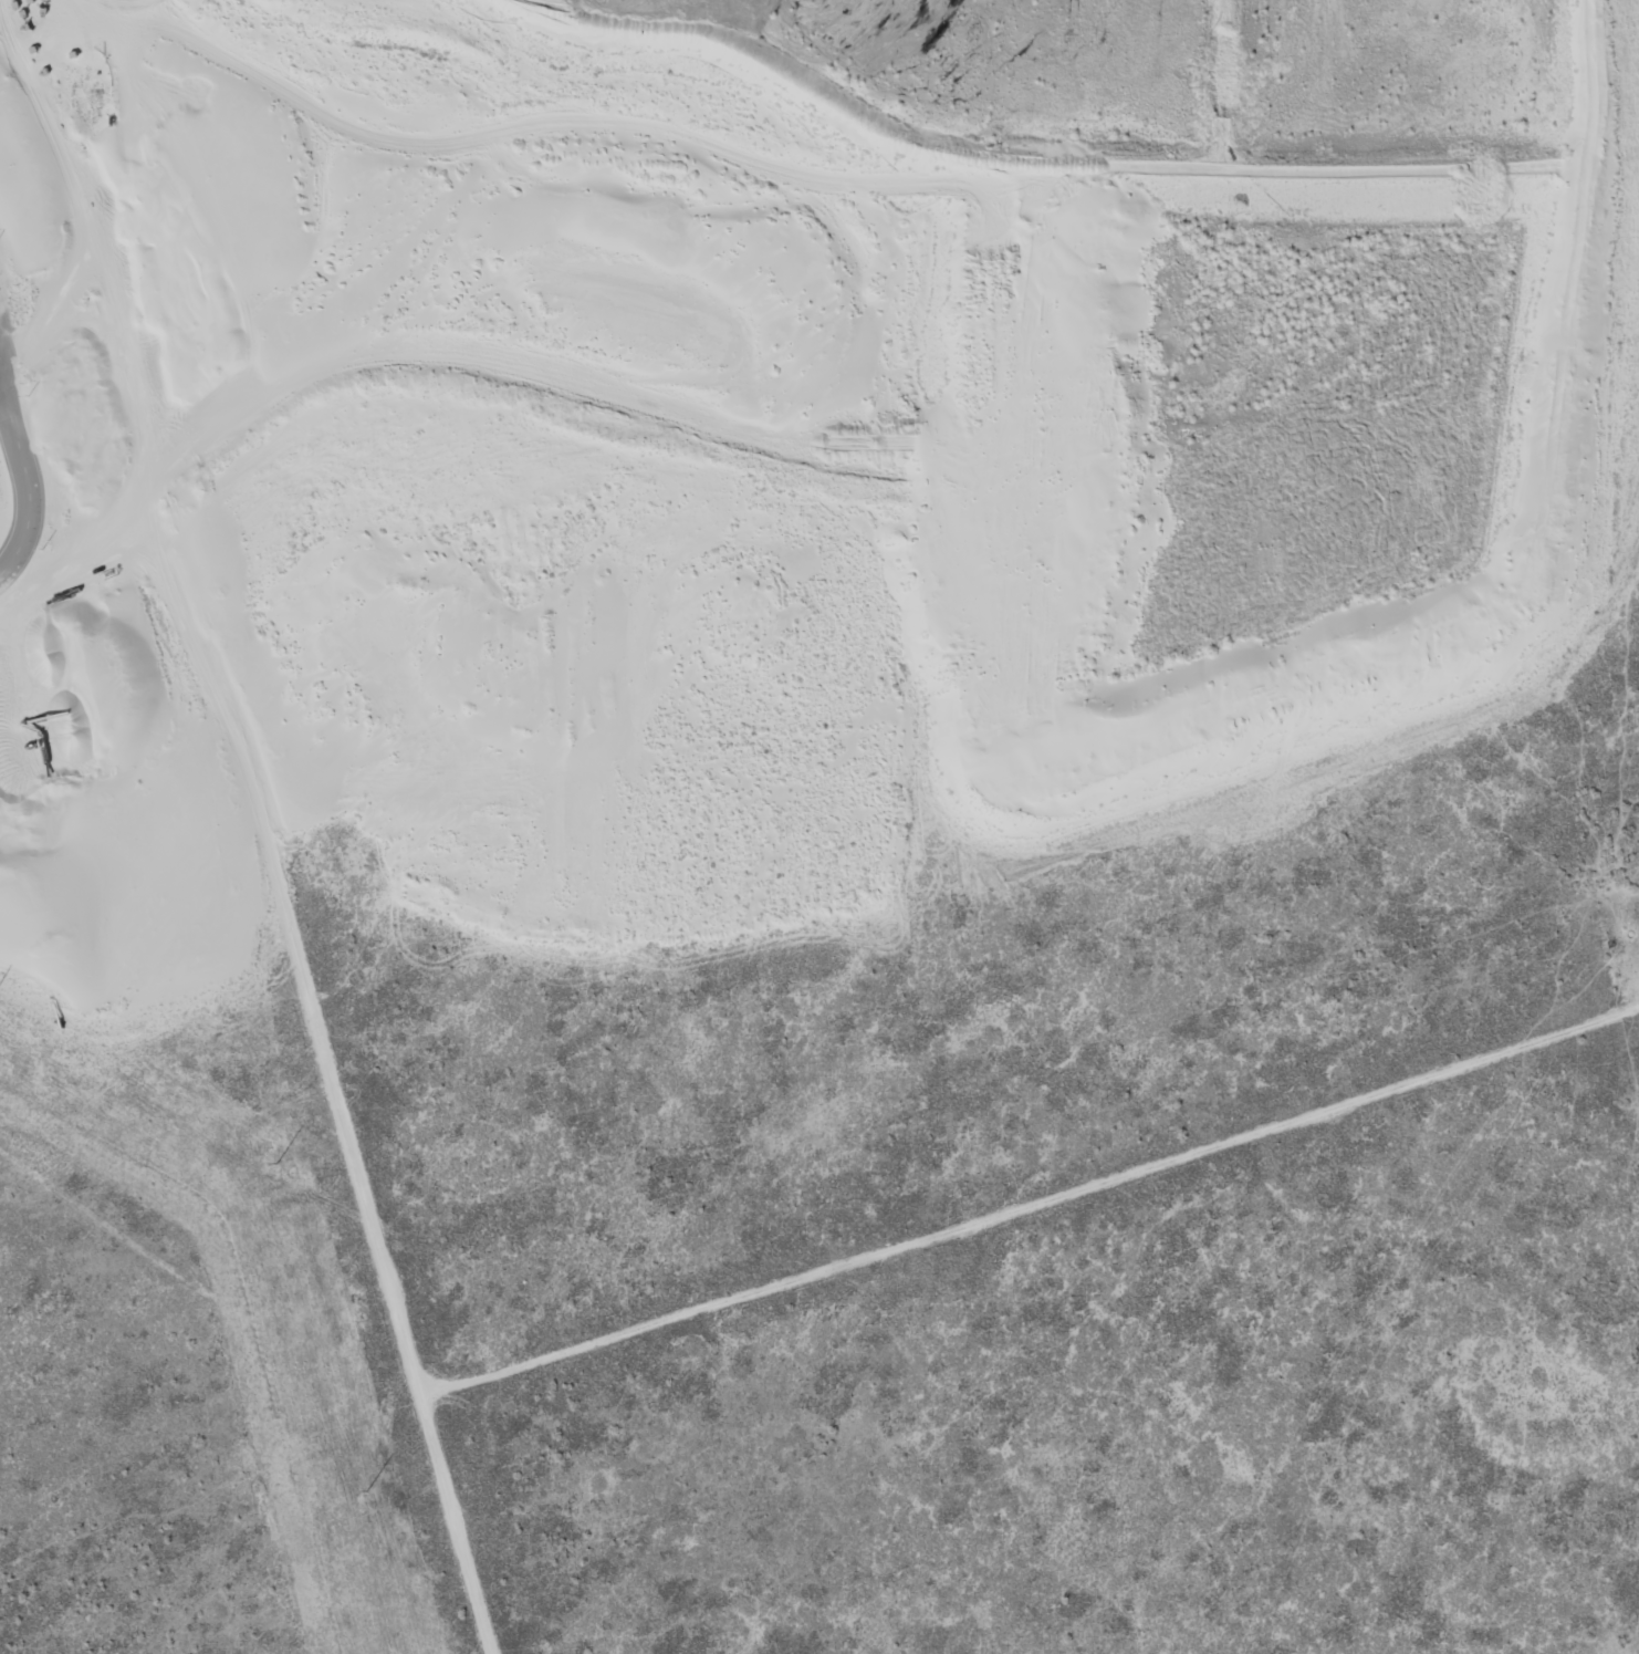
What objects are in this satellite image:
road: (278, 826)
power tower: (275, 1164)
power tower: (366, 1494)

